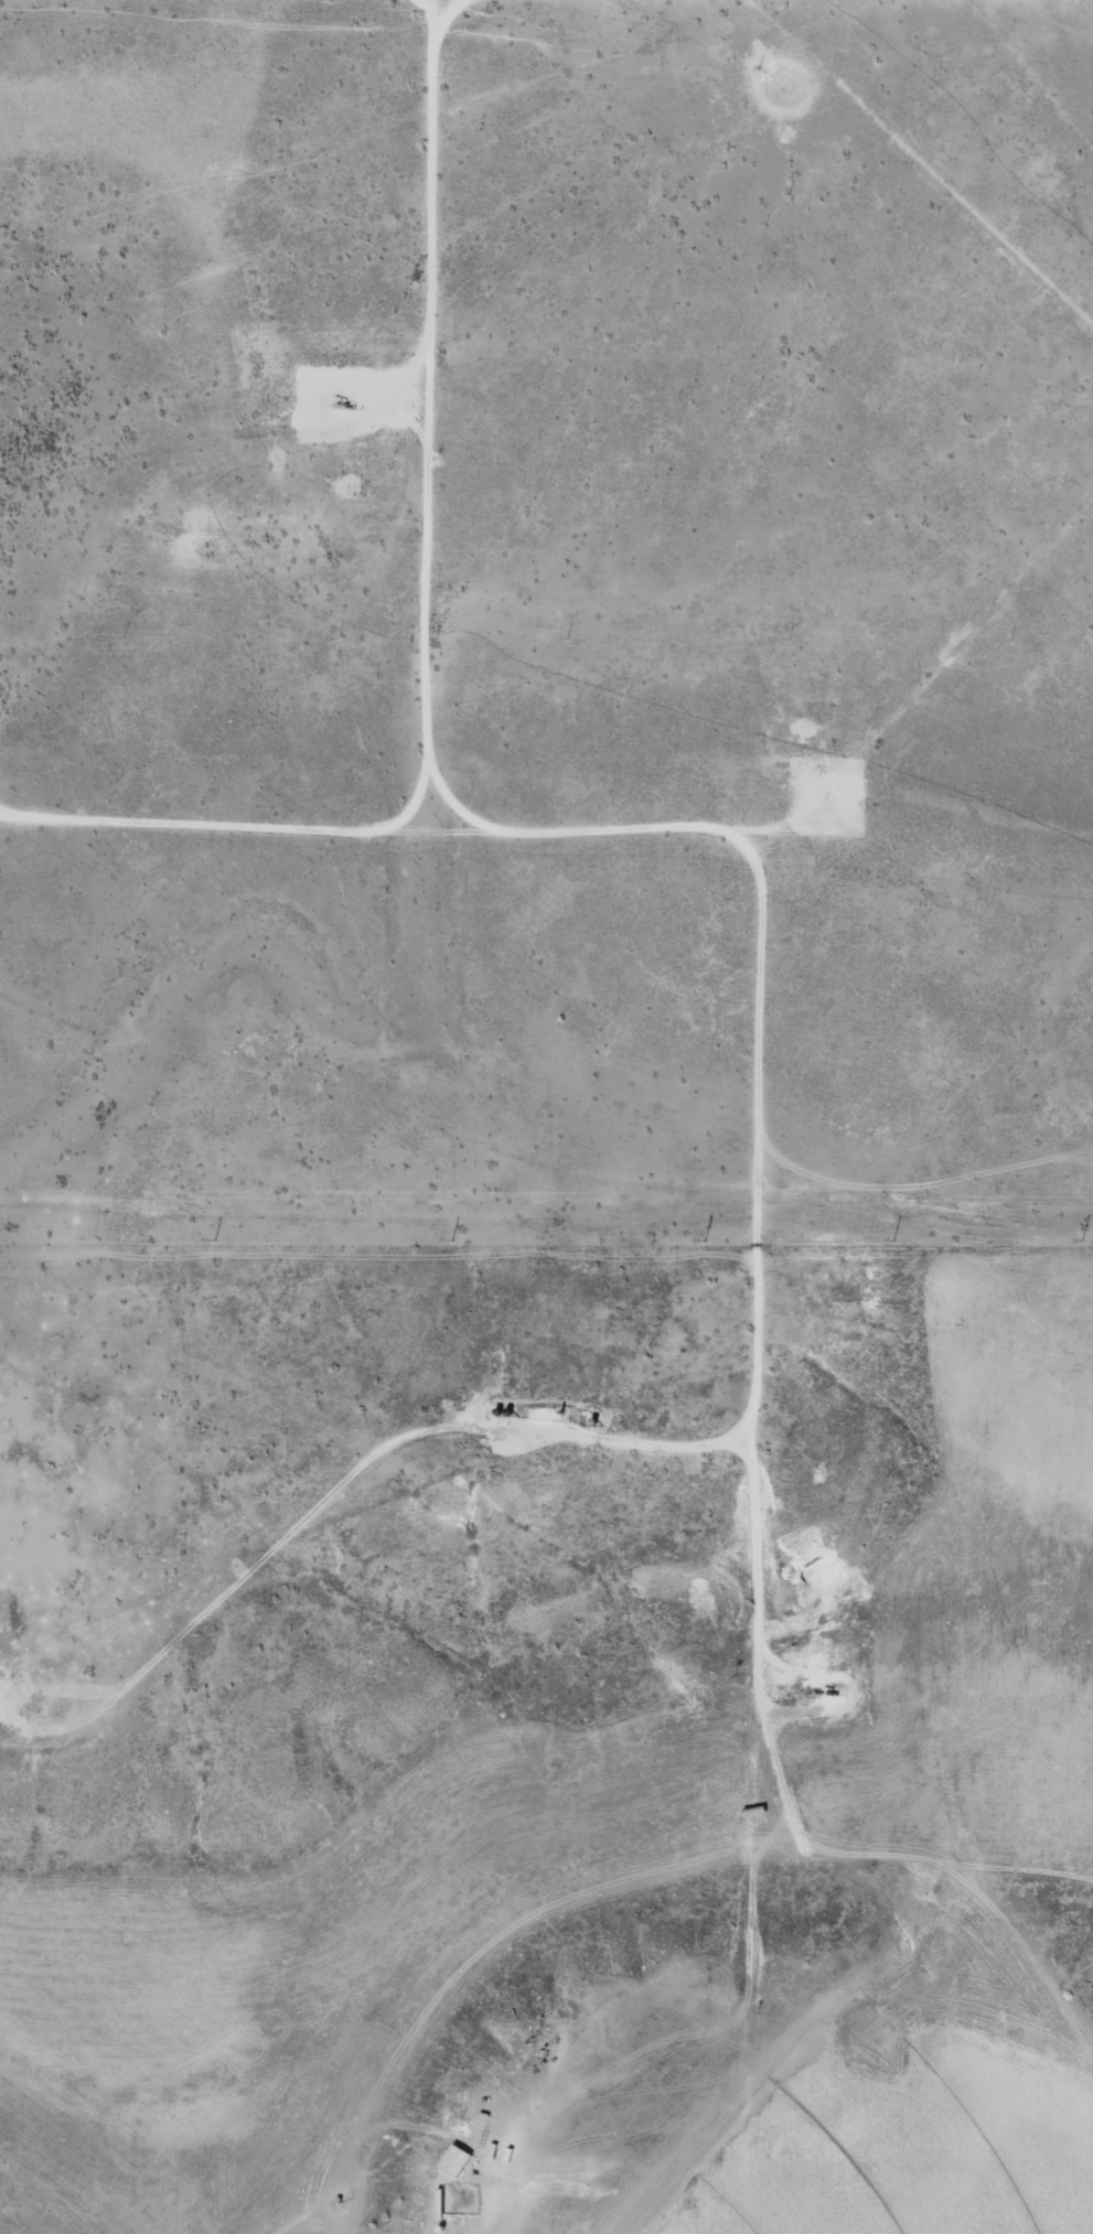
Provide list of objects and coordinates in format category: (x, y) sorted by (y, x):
road: (410, 397)
road: (433, 774)
road: (741, 1157)
road: (353, 1462)

